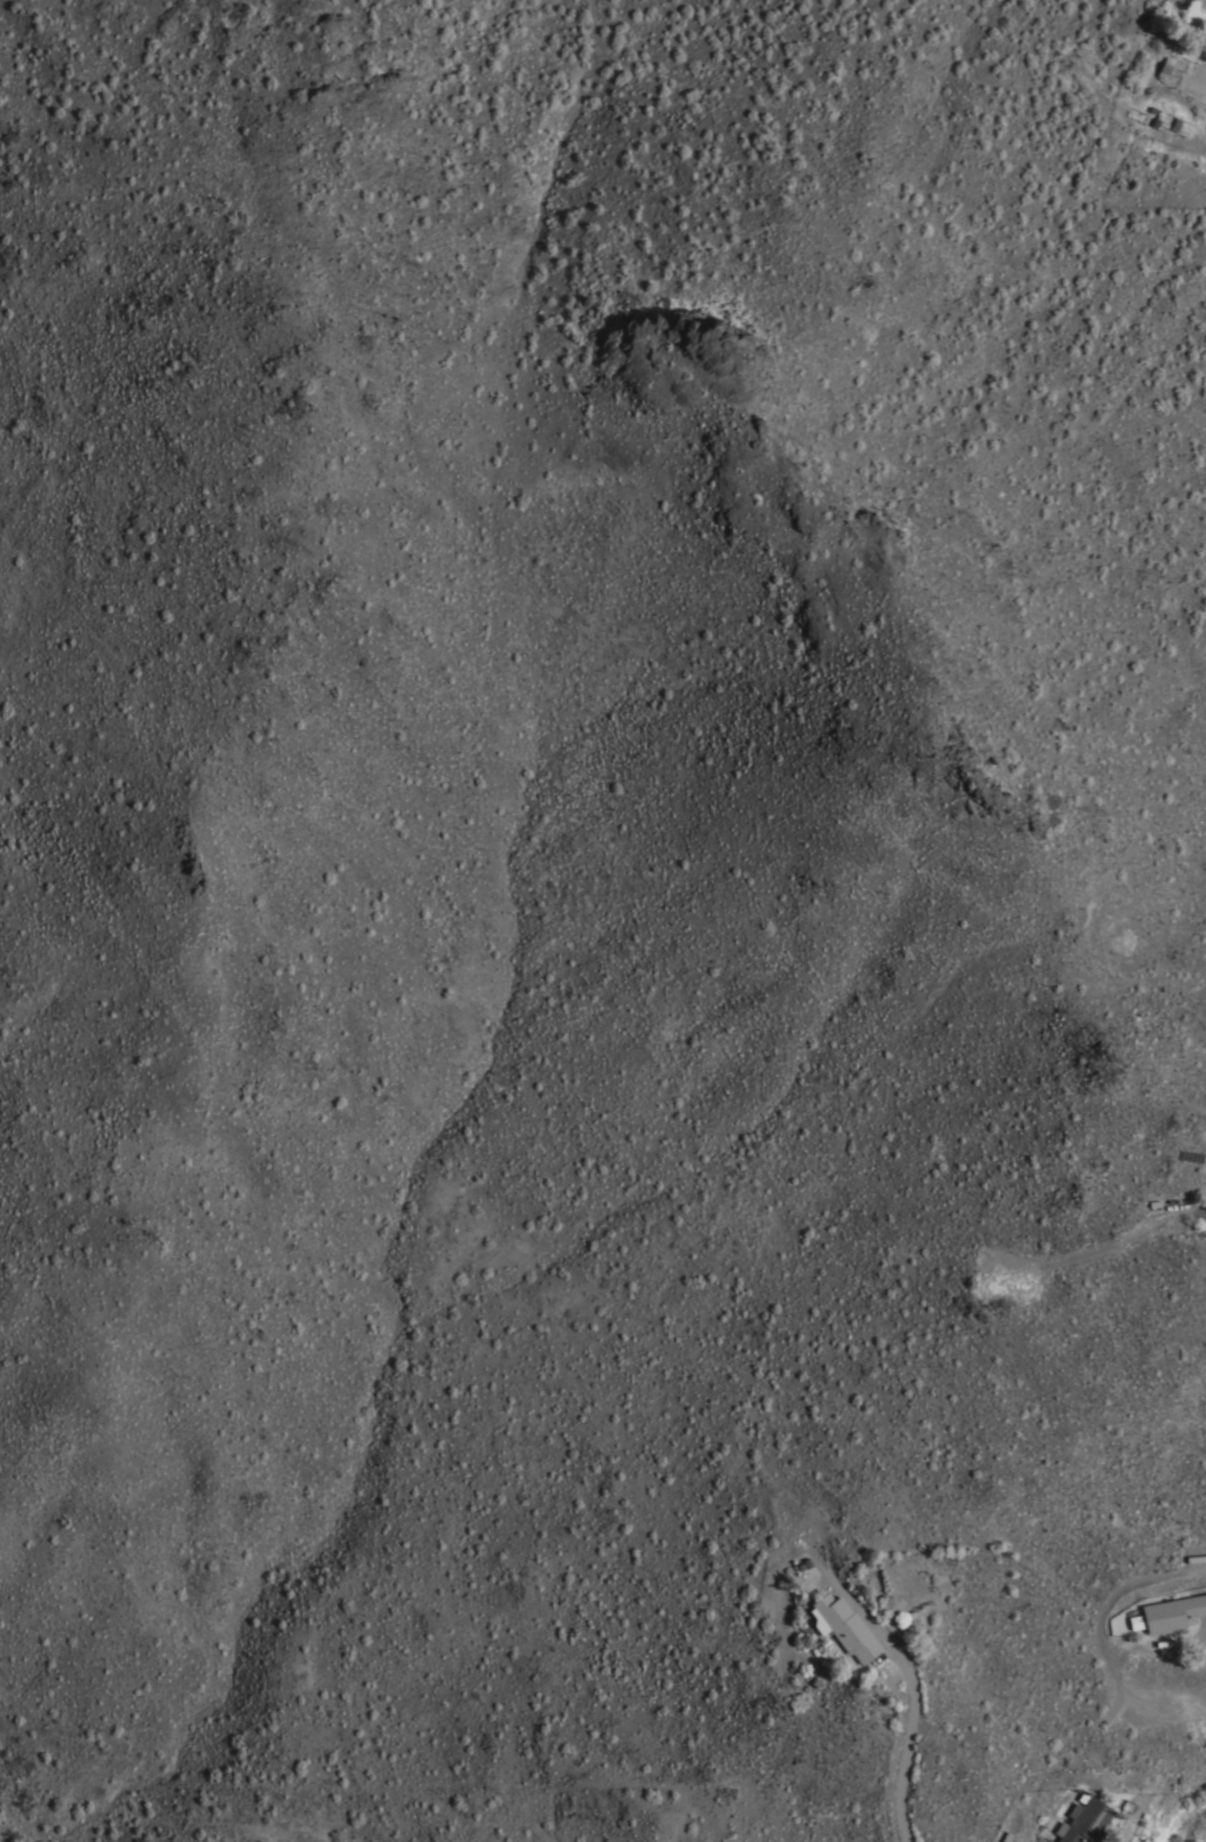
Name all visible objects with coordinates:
building: (1164, 66)
road: (1205, 1213)
building: (1172, 1612)
building: (842, 1626)
road: (1201, 1635)
road: (914, 1696)
building: (1083, 1820)
building: (1045, 1840)

